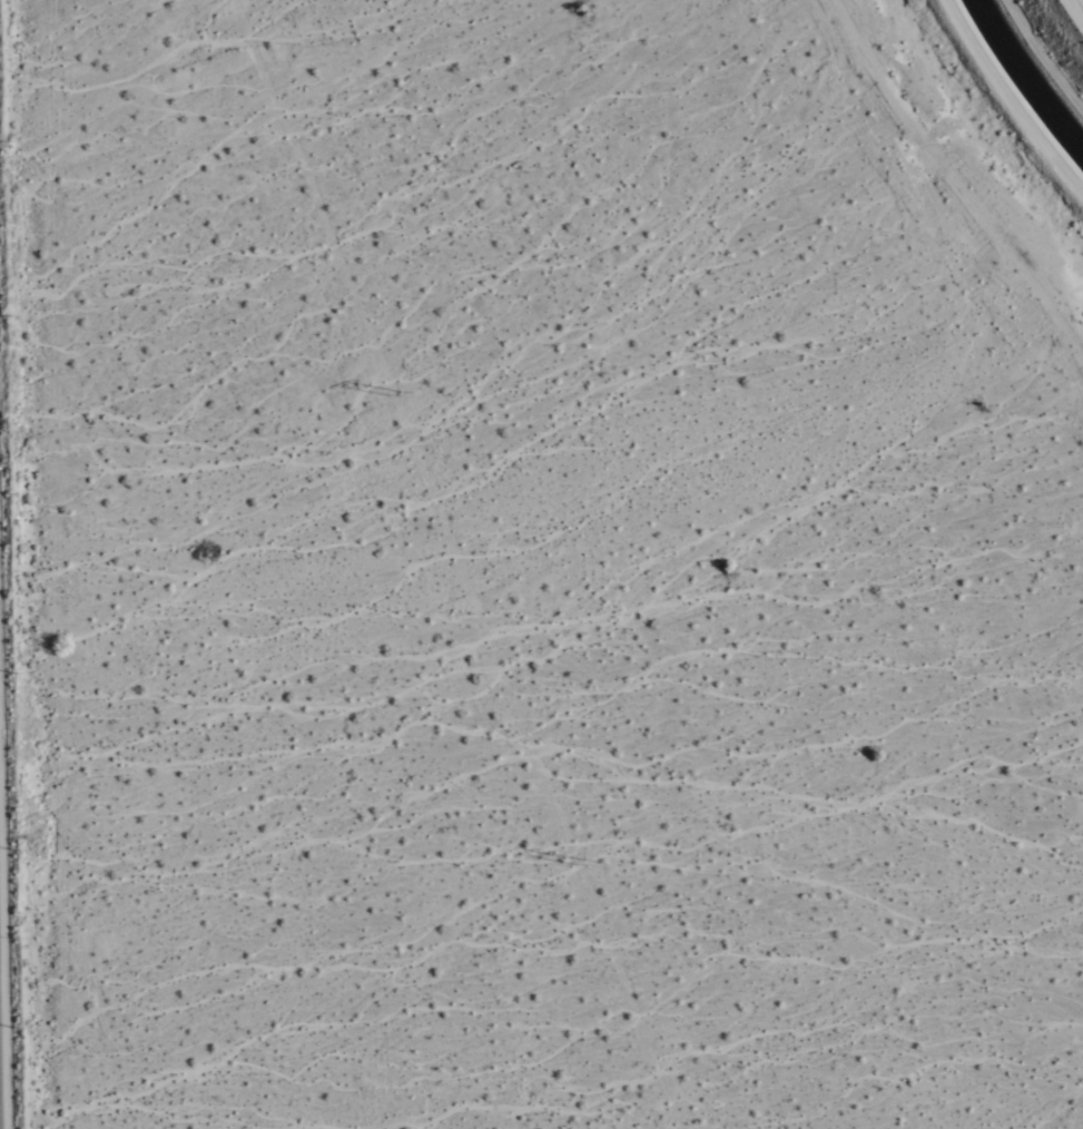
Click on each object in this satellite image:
road: (1006, 101)
power tower: (401, 390)
power tower: (585, 860)

